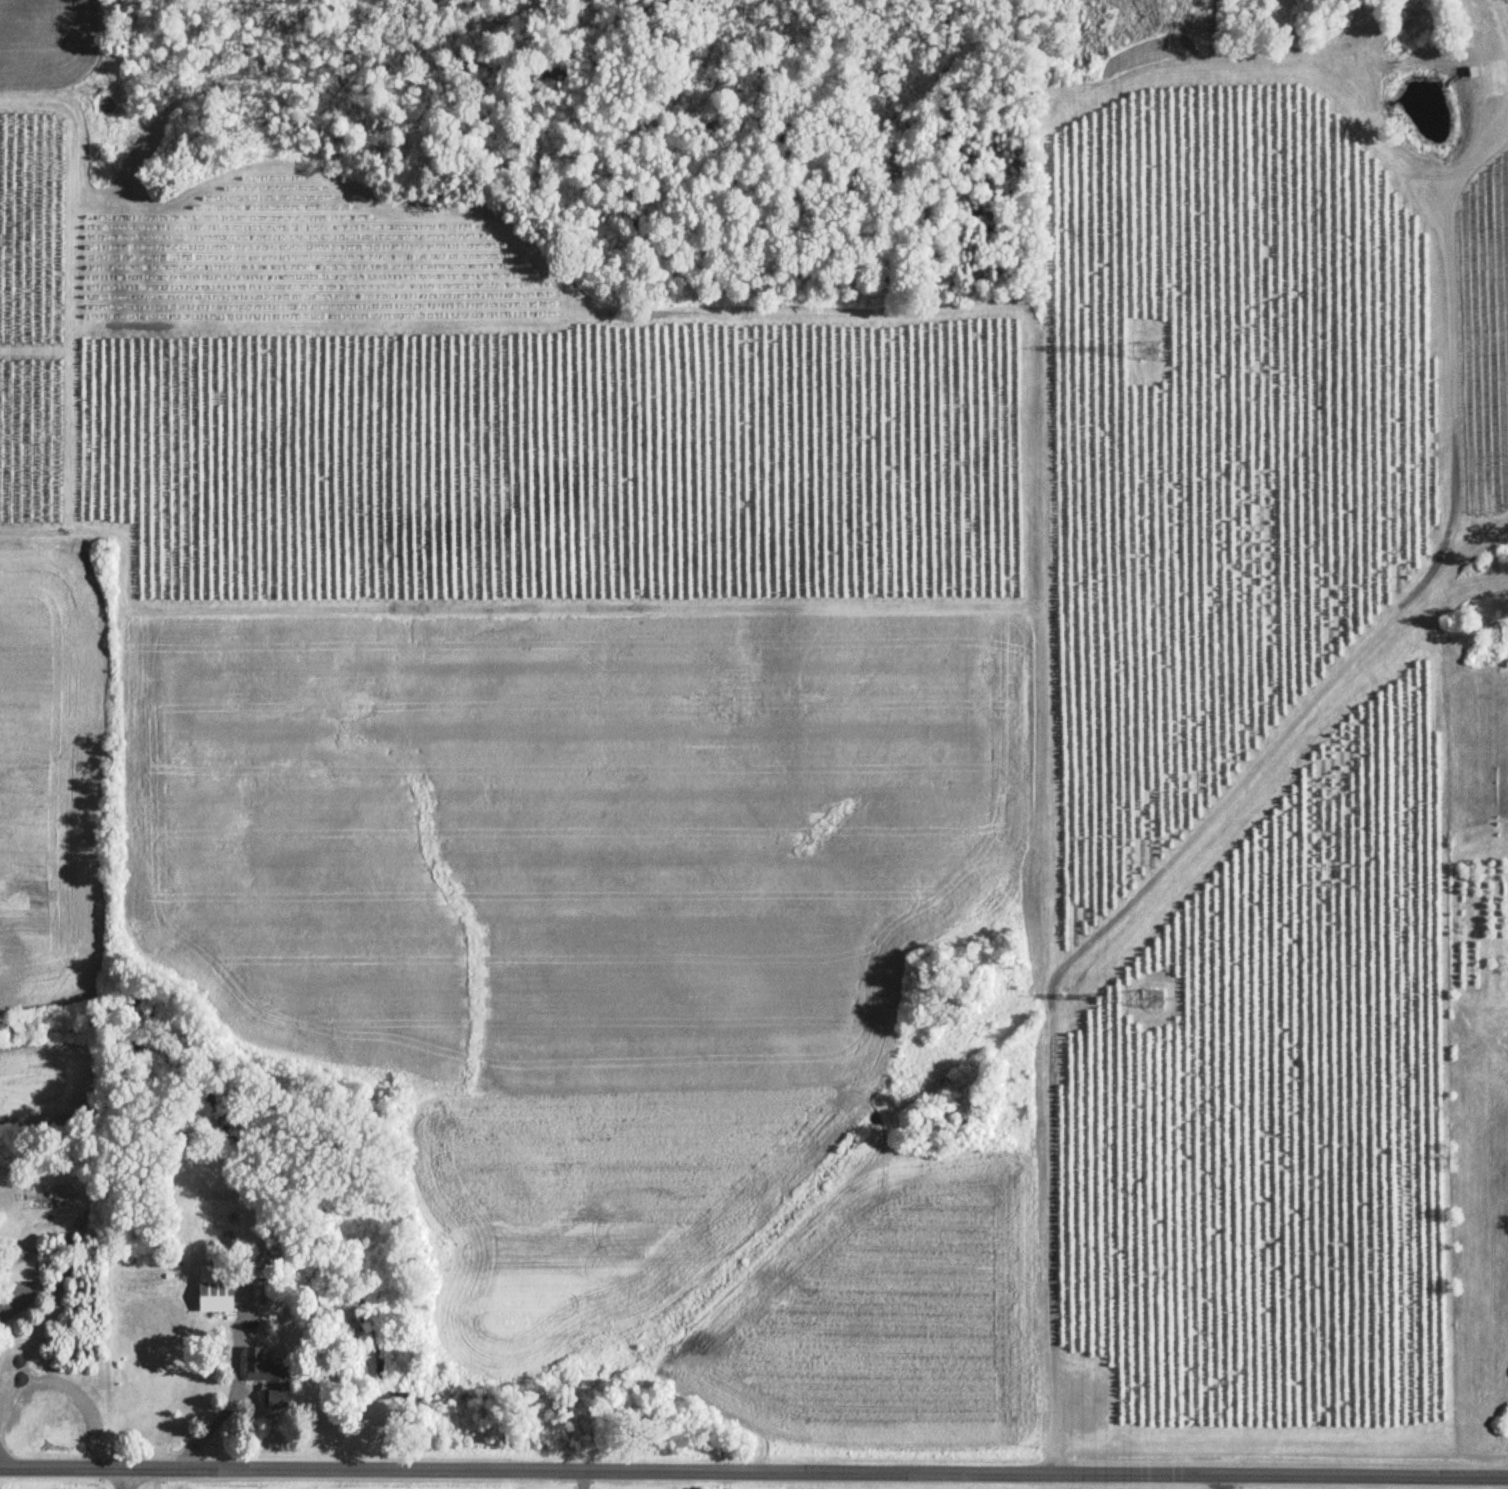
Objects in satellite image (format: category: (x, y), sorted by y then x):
building: (1469, 73)
power tower: (1147, 345)
power tower: (1150, 990)
building: (21, 1266)
building: (216, 1288)
building: (268, 1377)
road: (229, 1392)
road: (753, 1473)
road: (141, 1478)
road: (155, 1478)
road: (584, 1480)
road: (1223, 1482)

